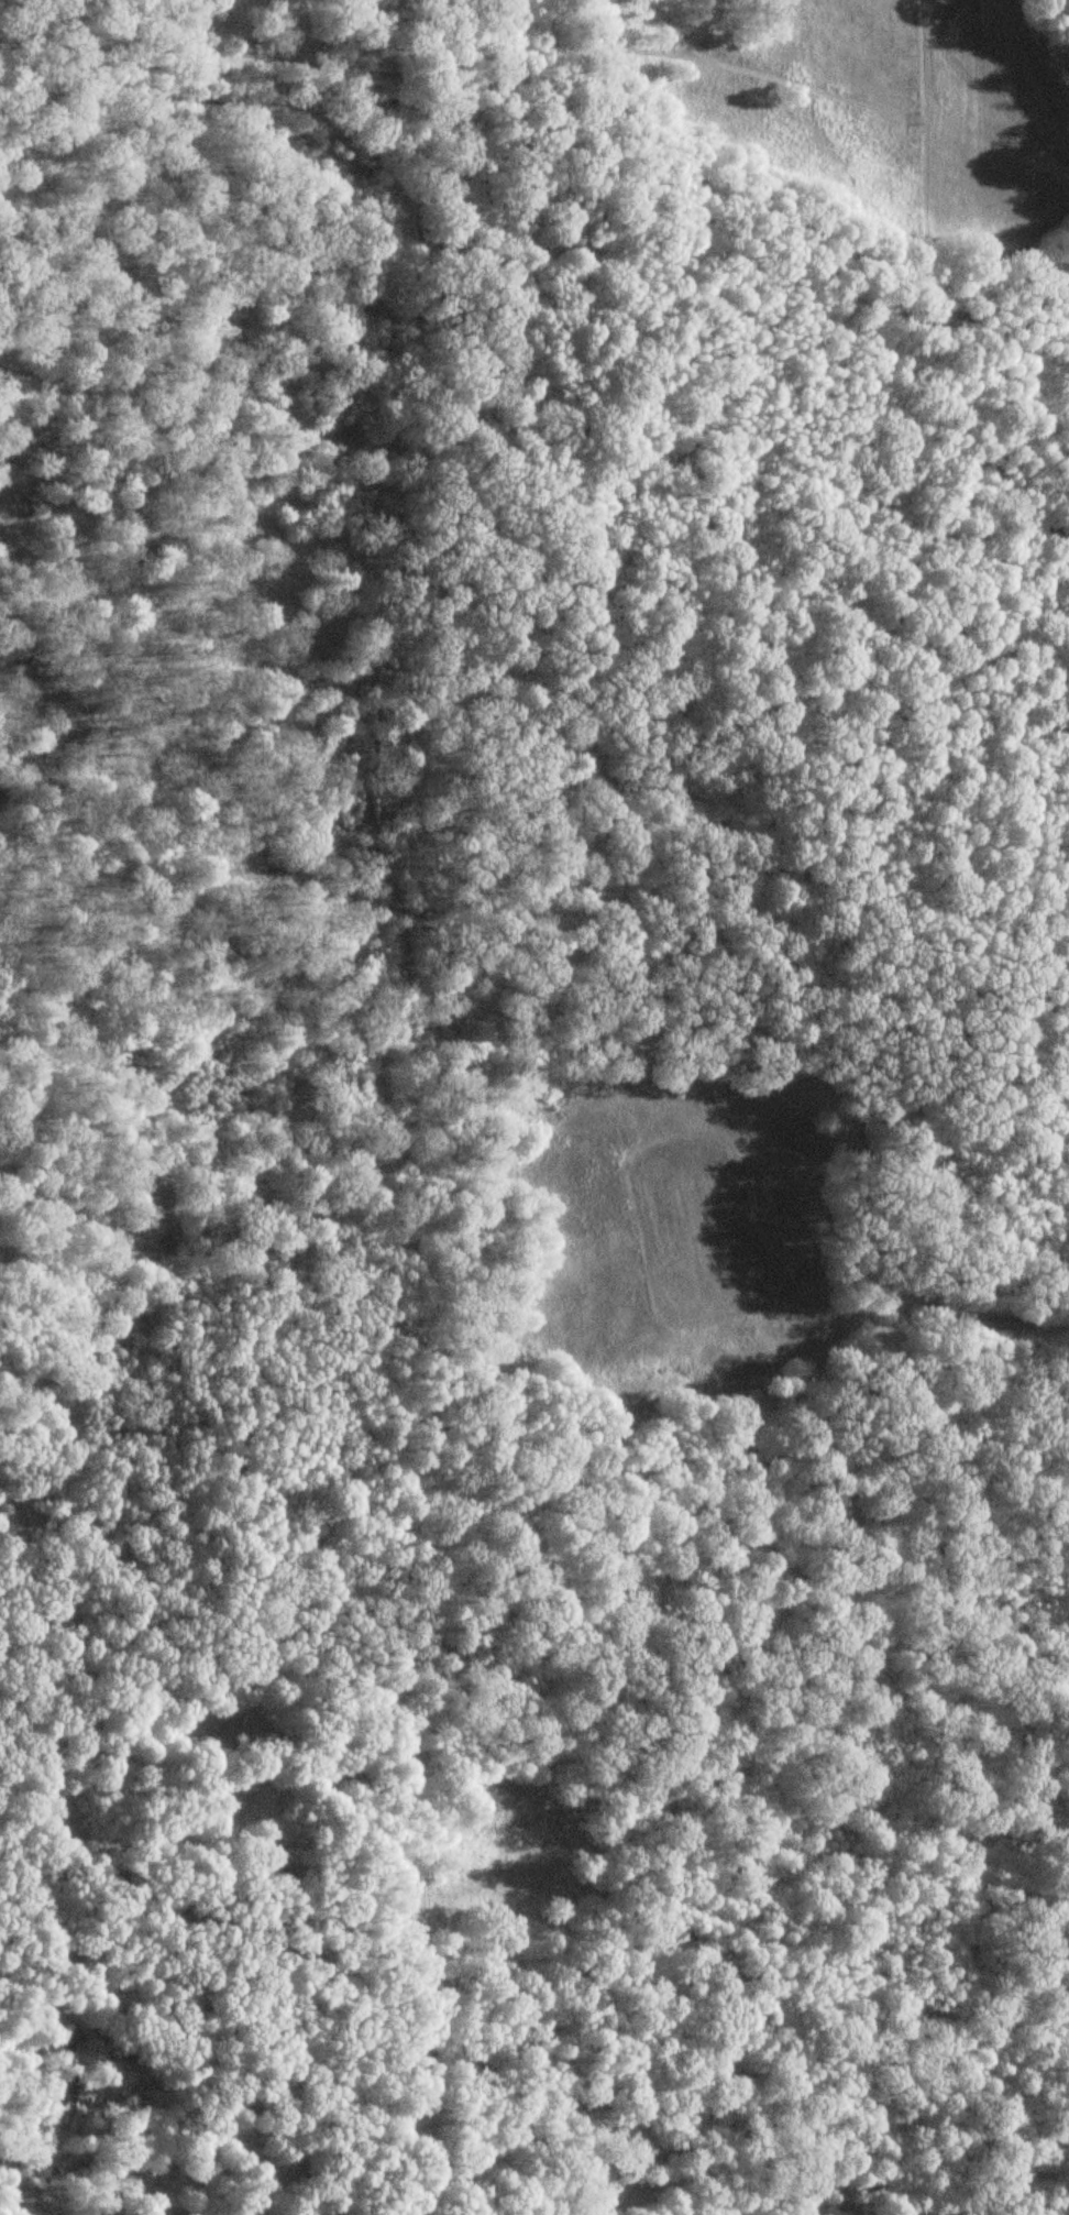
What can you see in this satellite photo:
road: (710, 59)
road: (996, 141)
road: (451, 168)
building: (463, 330)
road: (588, 726)
road: (836, 1322)

